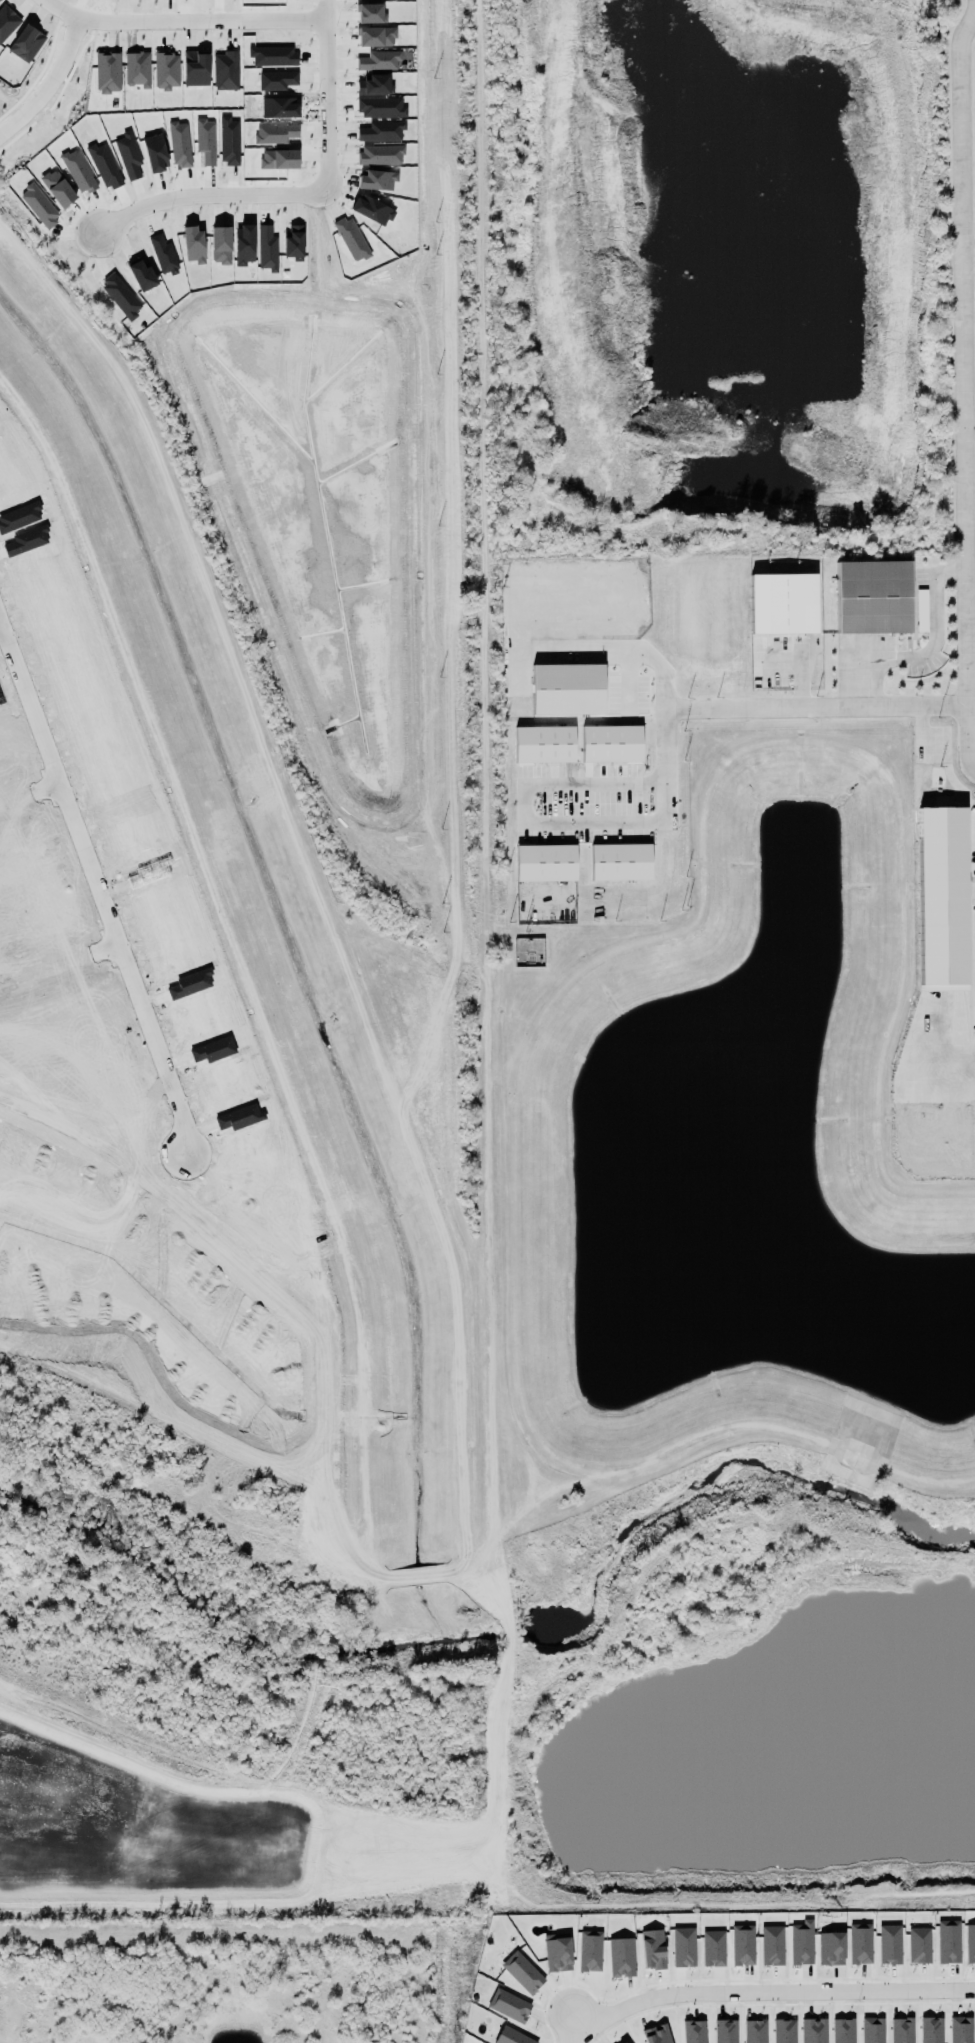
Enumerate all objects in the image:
building: (0, 0)
road: (183, 20)
building: (7, 22)
building: (26, 43)
building: (137, 69)
building: (196, 69)
building: (166, 70)
building: (226, 70)
building: (108, 72)
road: (49, 82)
road: (290, 194)
road: (964, 391)
road: (970, 411)
building: (873, 597)
building: (783, 603)
building: (922, 610)
road: (1, 623)
road: (624, 652)
building: (567, 689)
road: (971, 703)
road: (915, 706)
road: (661, 714)
building: (544, 744)
building: (611, 744)
road: (31, 795)
building: (621, 862)
building: (545, 863)
road: (100, 883)
road: (62, 966)
building: (801, 1941)
building: (948, 1942)
building: (918, 1943)
building: (970, 1943)
building: (860, 1944)
building: (889, 1944)
building: (742, 1945)
building: (772, 1945)
building: (684, 1947)
building: (713, 1948)
building: (831, 1948)
building: (652, 1949)
building: (556, 1951)
building: (590, 1951)
building: (621, 1957)
building: (521, 1969)
road: (764, 1994)
building: (511, 2004)
building: (873, 2030)
building: (902, 2030)
building: (931, 2030)
building: (961, 2030)
building: (694, 2031)
building: (725, 2031)
building: (755, 2031)
building: (784, 2031)
building: (814, 2031)
building: (843, 2031)
building: (657, 2034)
building: (511, 2036)
building: (620, 2041)

